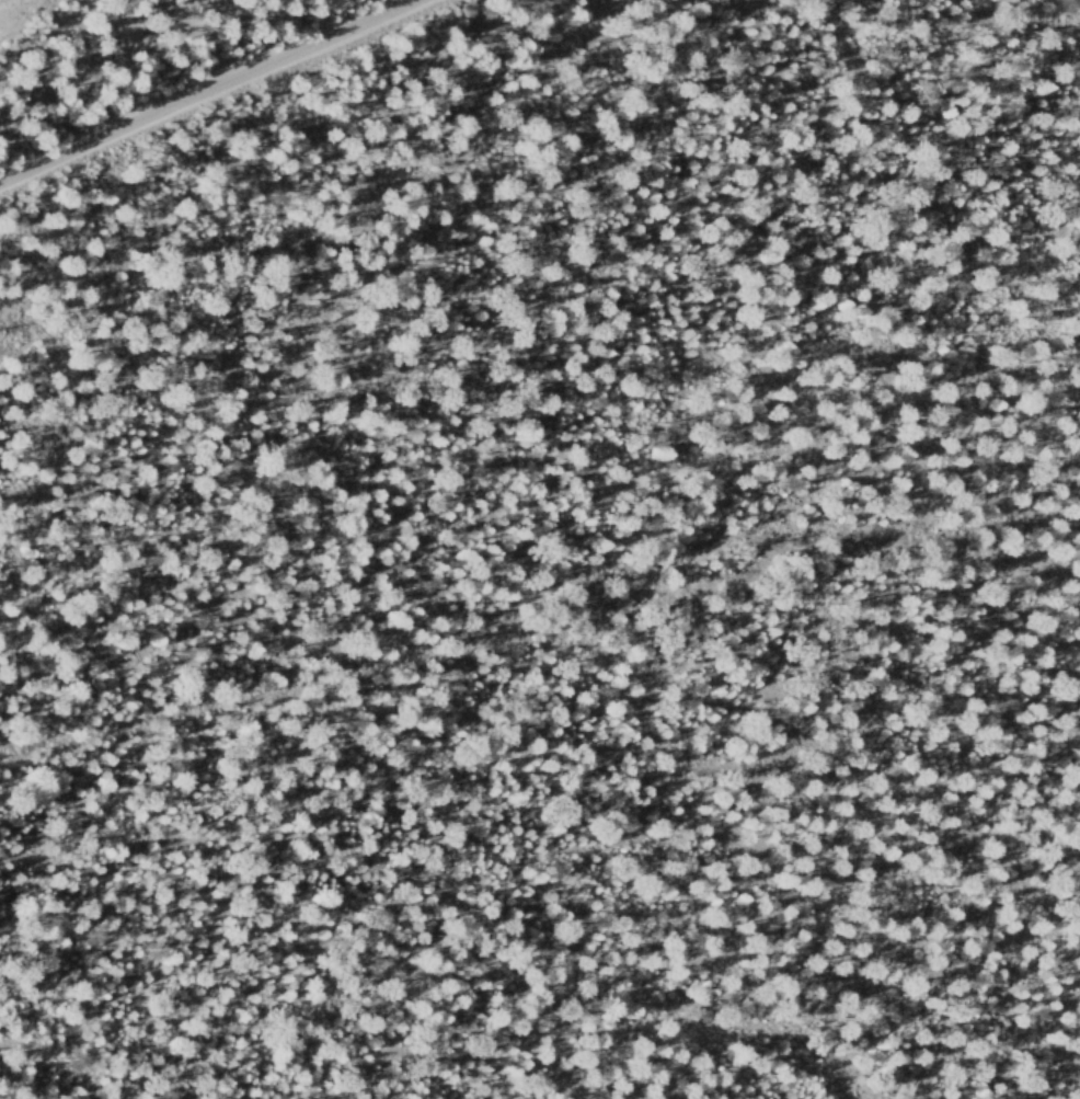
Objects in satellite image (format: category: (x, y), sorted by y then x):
road: (735, 4)
road: (209, 53)
road: (207, 90)
road: (544, 621)

